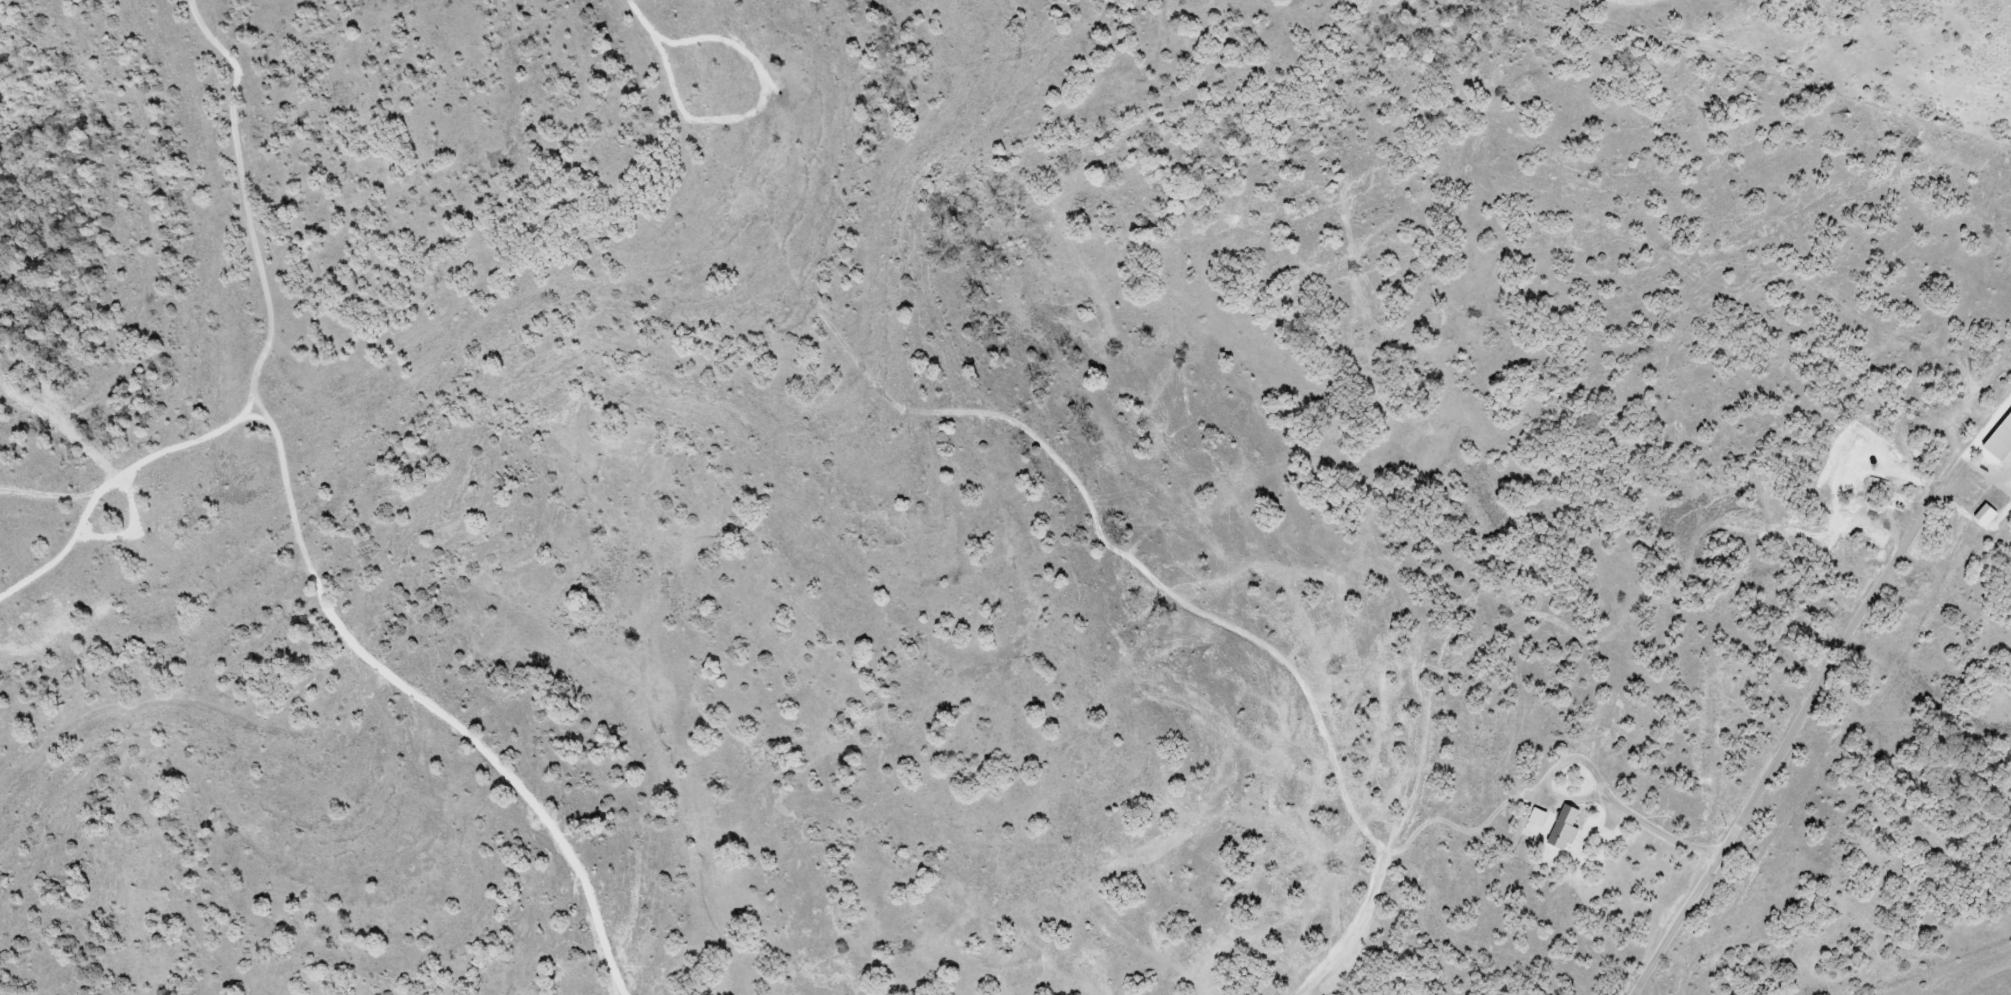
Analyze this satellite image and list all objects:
road: (1795, 689)
road: (1599, 785)

